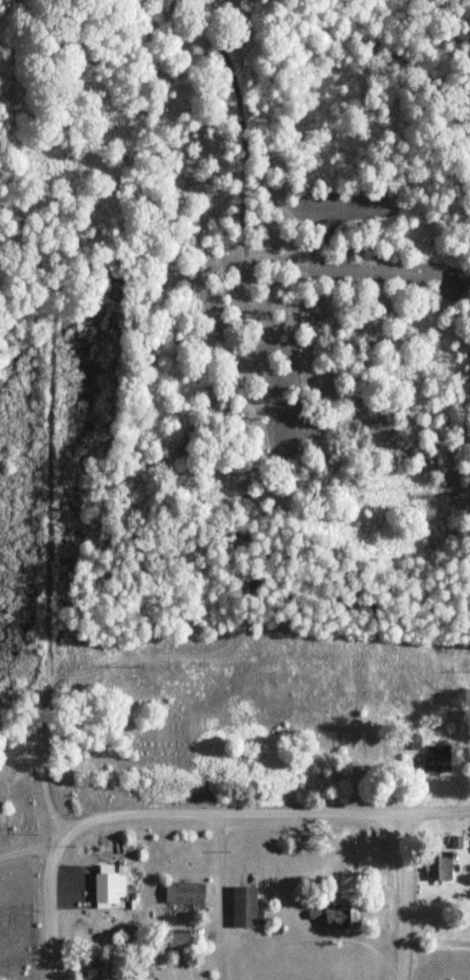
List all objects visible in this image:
building: (439, 760)
road: (425, 809)
road: (318, 810)
road: (147, 813)
building: (457, 843)
road: (29, 848)
building: (442, 869)
building: (109, 887)
building: (187, 893)
road: (223, 896)
road: (52, 900)
building: (247, 906)
road: (407, 908)
building: (339, 916)
building: (183, 939)
building: (126, 976)

